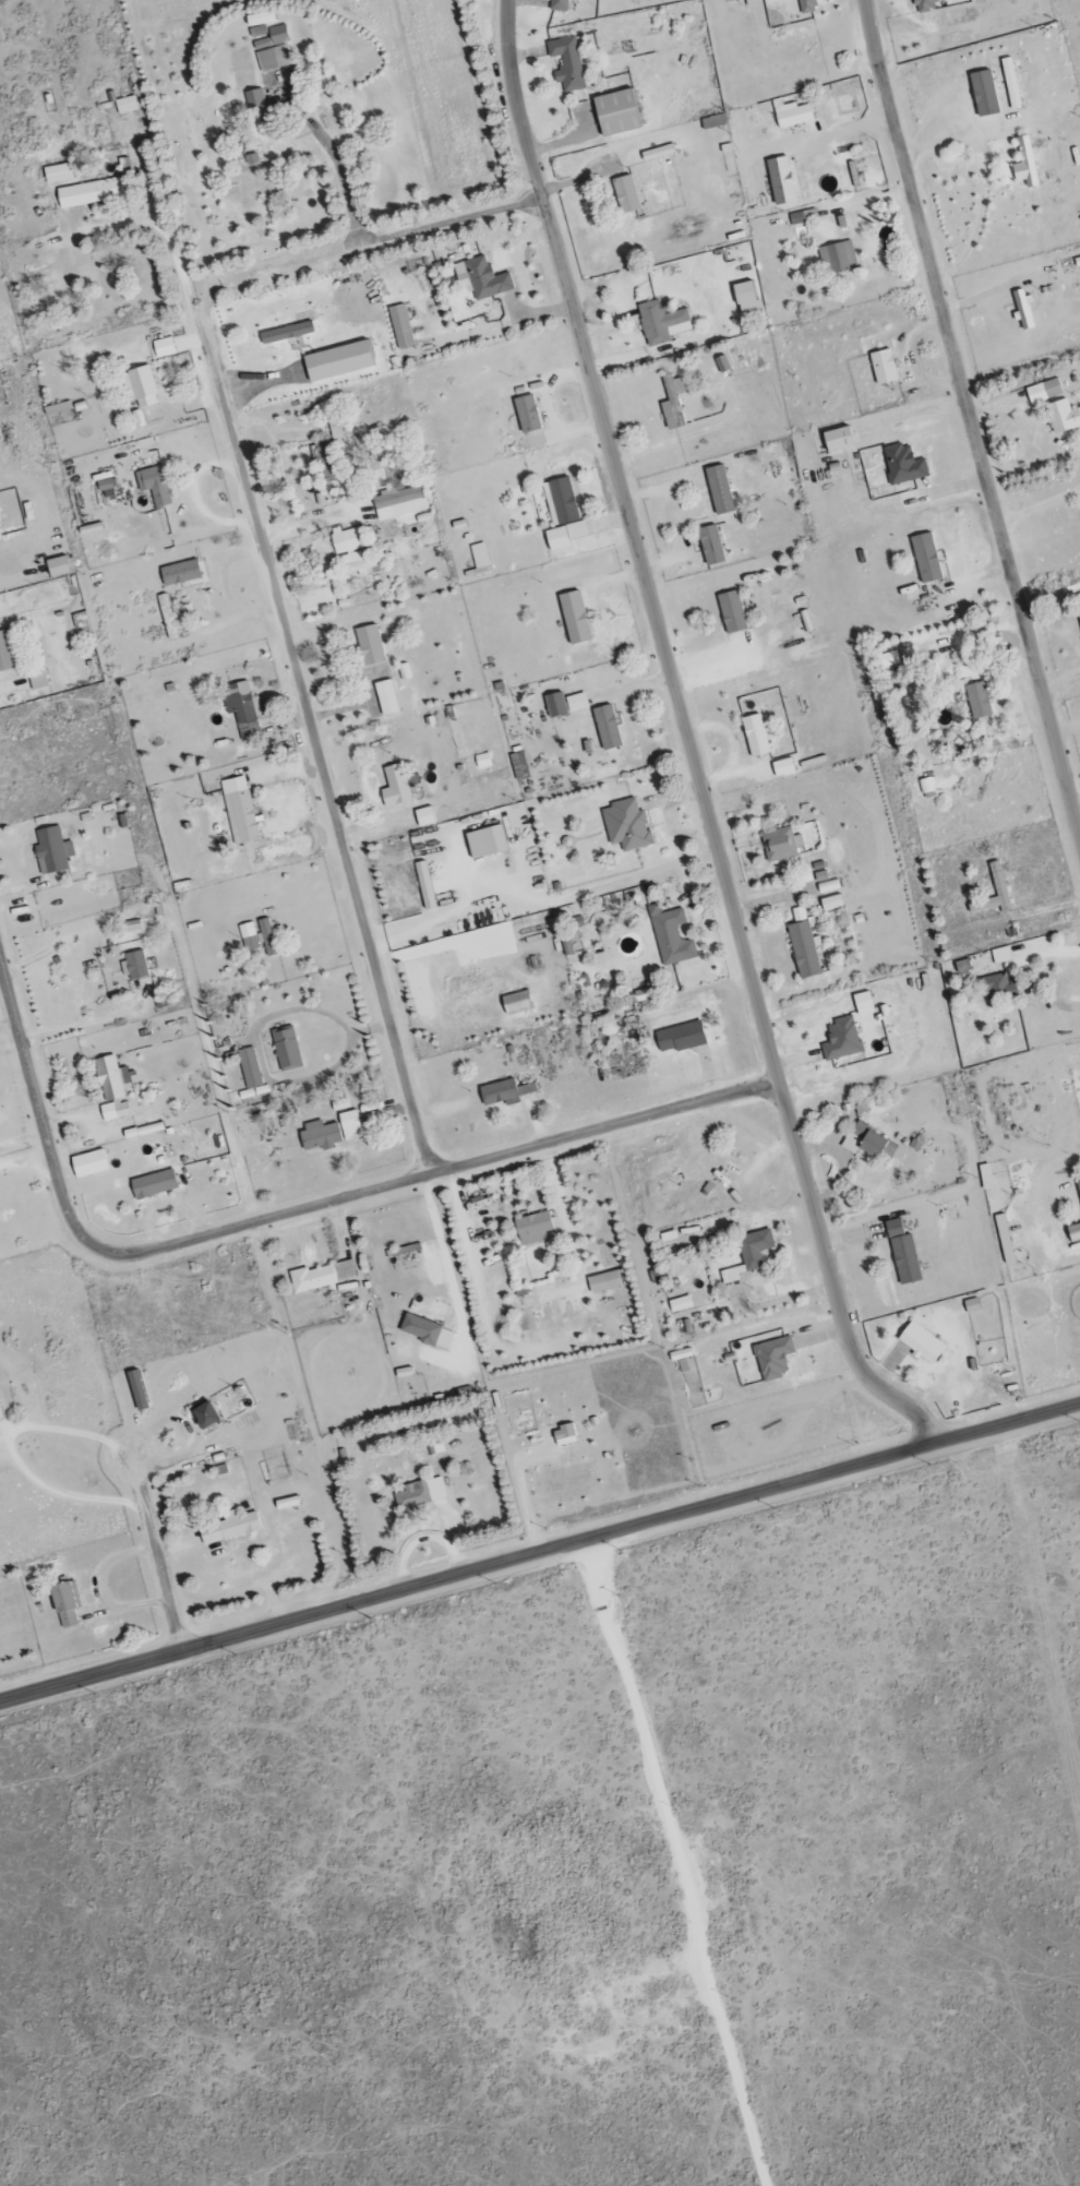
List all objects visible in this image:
building: (746, 2)
building: (557, 5)
building: (925, 5)
building: (807, 7)
building: (259, 20)
building: (272, 35)
building: (275, 59)
building: (566, 64)
building: (1009, 84)
building: (125, 106)
building: (614, 114)
building: (792, 116)
building: (712, 122)
road: (335, 148)
building: (1023, 165)
building: (57, 175)
building: (779, 181)
building: (88, 194)
building: (621, 196)
road: (164, 234)
road: (364, 240)
building: (837, 259)
building: (480, 279)
building: (746, 303)
building: (1022, 310)
building: (660, 323)
building: (399, 327)
building: (286, 333)
building: (163, 348)
building: (336, 361)
building: (883, 368)
building: (0, 374)
building: (140, 387)
building: (1044, 392)
building: (672, 404)
road: (970, 413)
building: (527, 415)
building: (1061, 417)
building: (339, 429)
building: (832, 442)
building: (325, 462)
building: (902, 466)
building: (154, 486)
building: (103, 487)
building: (719, 491)
building: (560, 502)
building: (399, 504)
building: (564, 536)
building: (710, 546)
building: (359, 552)
building: (479, 557)
building: (925, 559)
building: (64, 568)
building: (180, 574)
building: (730, 612)
building: (167, 618)
building: (573, 618)
road: (975, 632)
building: (370, 645)
building: (10, 656)
building: (888, 660)
building: (41, 680)
building: (386, 698)
building: (977, 701)
building: (564, 704)
building: (243, 710)
building: (607, 728)
building: (754, 736)
road: (687, 739)
building: (363, 741)
road: (313, 749)
building: (481, 761)
building: (518, 766)
building: (782, 768)
building: (926, 786)
building: (395, 787)
building: (239, 811)
building: (424, 817)
building: (625, 826)
building: (484, 841)
building: (781, 847)
building: (51, 851)
building: (812, 874)
building: (997, 881)
building: (424, 886)
building: (828, 887)
building: (830, 904)
building: (133, 927)
building: (671, 936)
building: (249, 937)
building: (267, 937)
building: (803, 946)
building: (999, 956)
building: (134, 965)
building: (961, 966)
building: (997, 987)
building: (515, 1003)
building: (862, 1004)
building: (679, 1038)
building: (840, 1040)
building: (286, 1050)
building: (249, 1067)
road: (211, 1073)
building: (111, 1088)
building: (505, 1091)
road: (35, 1112)
building: (332, 1128)
building: (869, 1144)
building: (87, 1164)
building: (984, 1178)
road: (428, 1180)
building: (153, 1185)
building: (532, 1229)
building: (1072, 1233)
building: (902, 1253)
building: (748, 1255)
building: (321, 1277)
building: (603, 1282)
road: (451, 1285)
building: (680, 1304)
building: (971, 1306)
building: (425, 1333)
building: (920, 1343)
building: (772, 1358)
building: (681, 1361)
building: (135, 1390)
building: (0, 1415)
building: (202, 1415)
building: (564, 1436)
road: (8, 1448)
building: (420, 1494)
building: (229, 1528)
road: (541, 1561)
road: (155, 1562)
building: (62, 1606)

